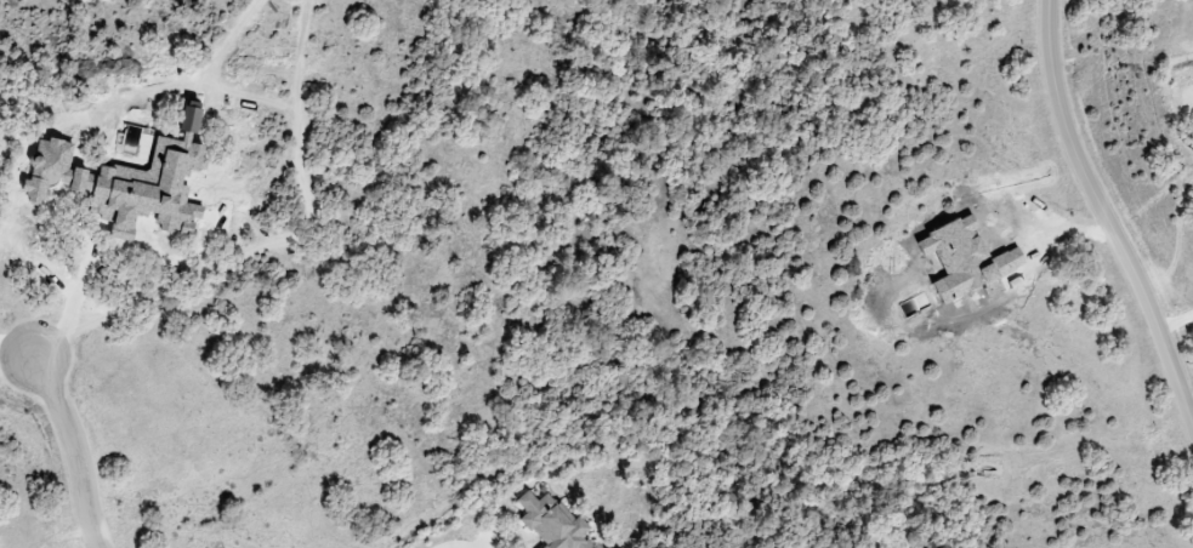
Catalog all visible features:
building: (191, 118)
building: (123, 185)
road: (1102, 219)
road: (69, 316)
road: (1174, 319)
road: (16, 349)
road: (16, 364)
park: (13, 386)
road: (68, 451)
building: (552, 521)
road: (456, 543)

